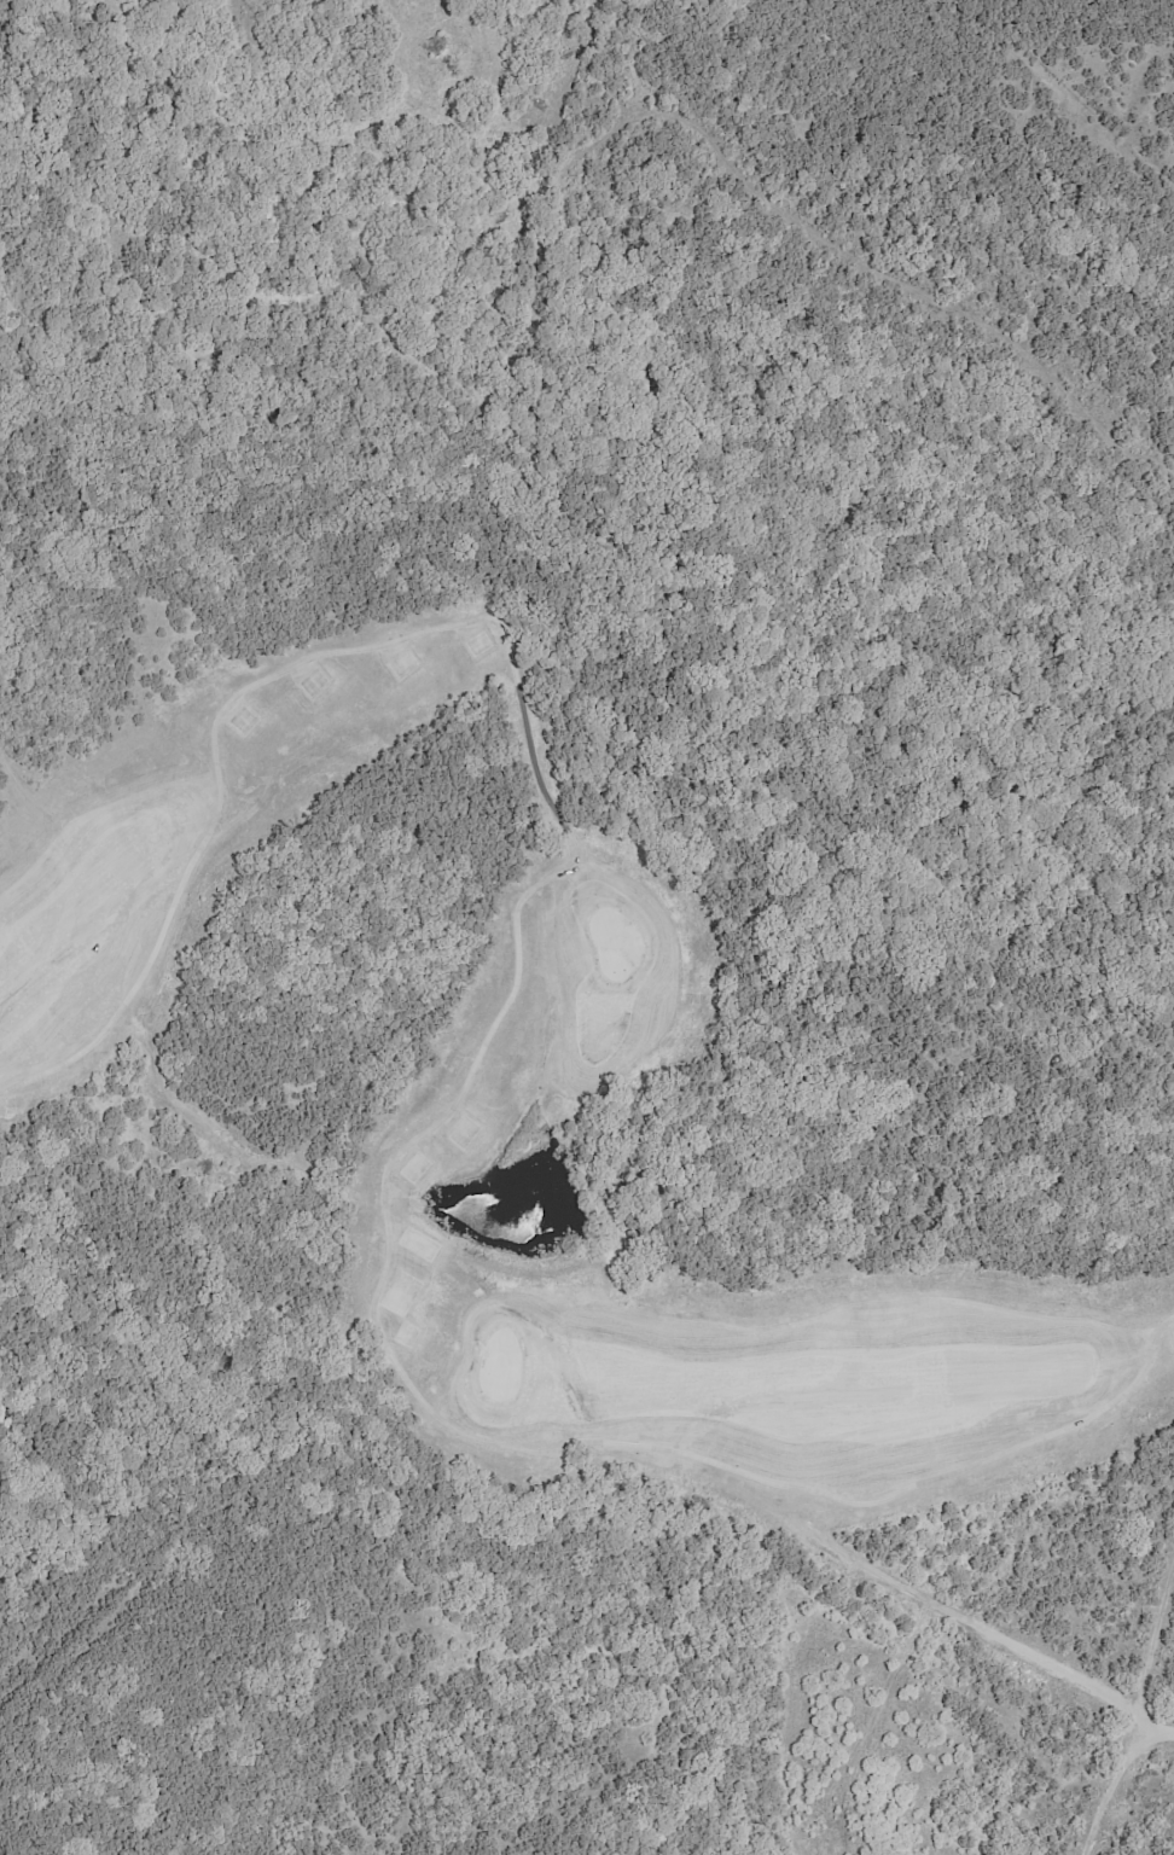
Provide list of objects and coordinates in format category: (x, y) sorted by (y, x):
road: (482, 1045)

